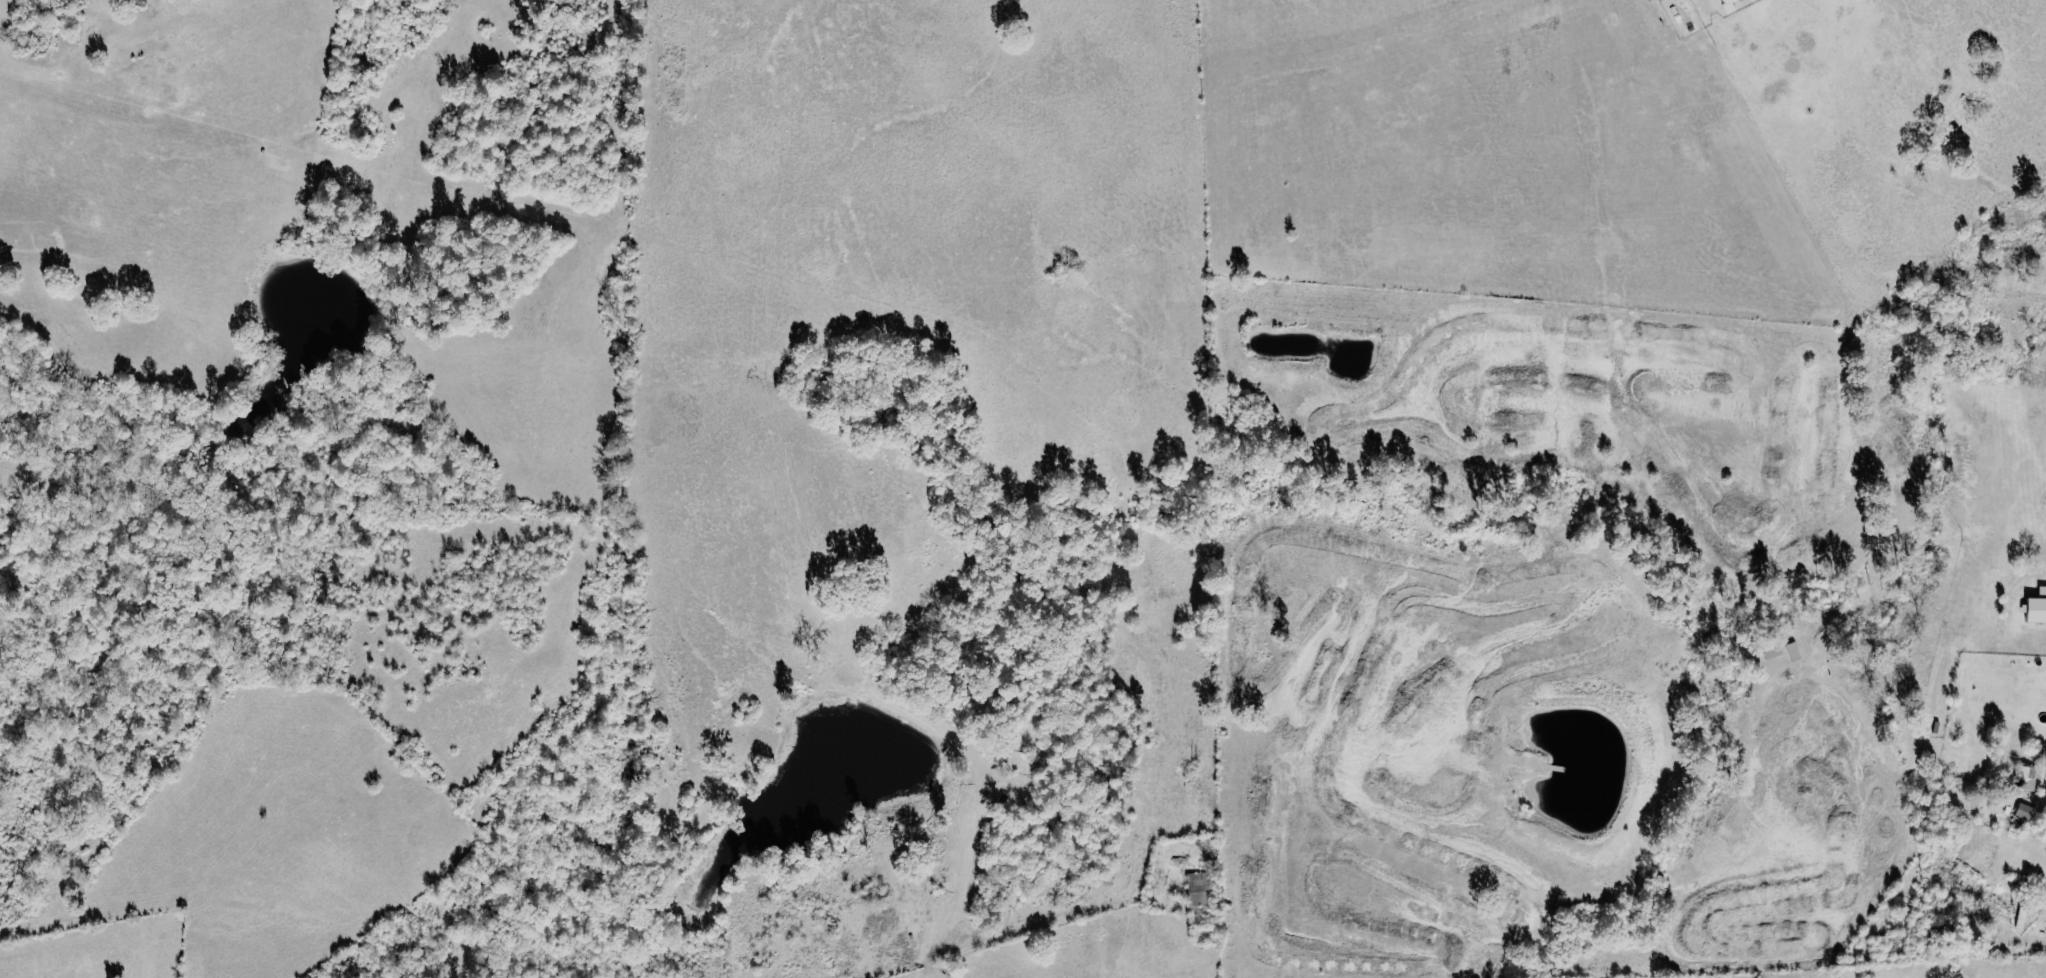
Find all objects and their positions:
building: (2035, 607)
building: (2023, 778)
building: (2022, 811)

